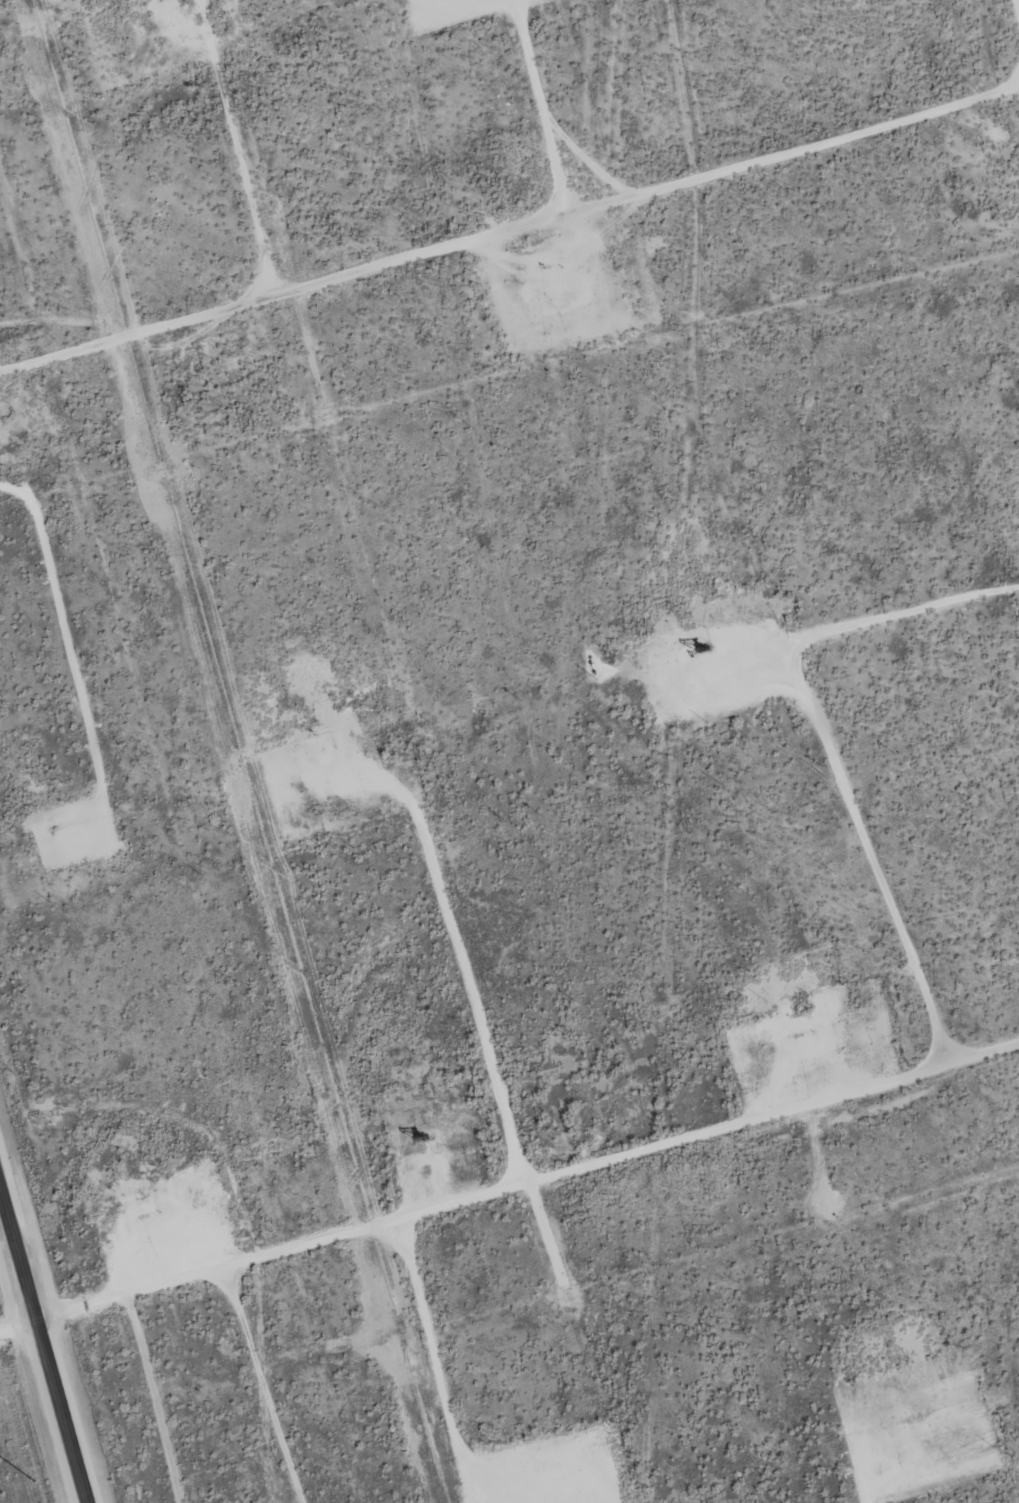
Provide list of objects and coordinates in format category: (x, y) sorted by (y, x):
road: (507, 217)
road: (509, 1189)
road: (43, 1345)

